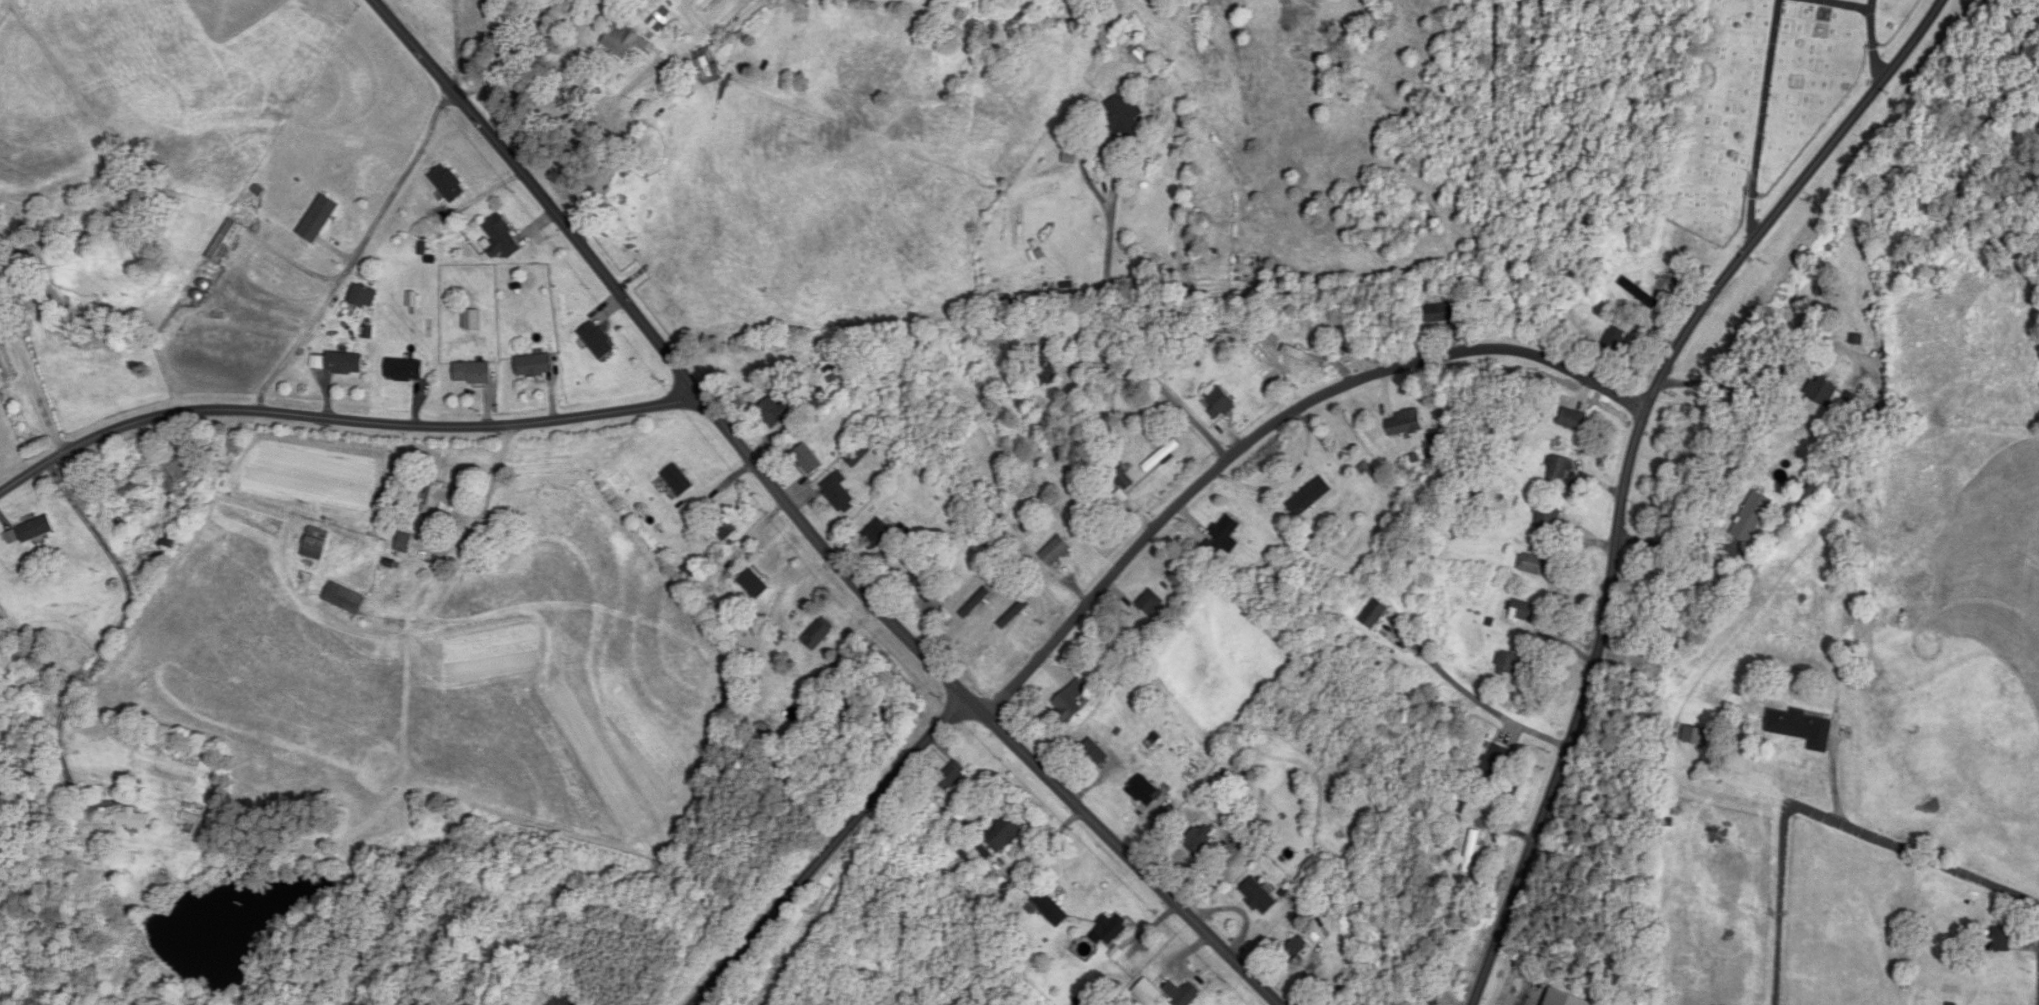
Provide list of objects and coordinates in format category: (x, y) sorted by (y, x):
building: (624, 41)
road: (458, 43)
building: (1142, 56)
road: (543, 63)
building: (709, 66)
park: (1766, 98)
building: (1123, 118)
road: (610, 146)
road: (1116, 170)
building: (448, 184)
building: (320, 219)
building: (503, 240)
building: (223, 250)
road: (358, 254)
building: (1639, 293)
building: (363, 296)
building: (1440, 313)
building: (1857, 339)
building: (1614, 340)
building: (598, 341)
building: (1305, 353)
building: (5, 363)
building: (345, 363)
building: (534, 365)
building: (1043, 366)
building: (404, 370)
road: (1770, 370)
building: (472, 373)
road: (1162, 382)
building: (1823, 391)
building: (1852, 401)
building: (1219, 402)
building: (776, 413)
building: (1570, 419)
road: (343, 421)
building: (1404, 423)
road: (1269, 433)
building: (1161, 456)
building: (807, 460)
building: (183, 463)
road: (1631, 464)
building: (1558, 468)
building: (1123, 478)
building: (133, 483)
building: (839, 494)
building: (1309, 497)
building: (440, 501)
building: (1546, 516)
building: (1751, 518)
road: (802, 523)
building: (727, 526)
building: (1224, 528)
building: (36, 529)
building: (875, 535)
building: (171, 537)
building: (316, 543)
building: (404, 546)
road: (1677, 548)
building: (1054, 552)
building: (1533, 565)
building: (920, 577)
building: (345, 599)
building: (1150, 603)
building: (1857, 610)
building: (1522, 612)
building: (1372, 614)
building: (972, 630)
building: (817, 633)
road: (116, 634)
building: (1507, 663)
road: (1470, 698)
building: (1070, 701)
building: (1802, 728)
building: (1695, 736)
building: (1094, 755)
building: (1496, 760)
building: (951, 776)
building: (1145, 792)
building: (190, 818)
building: (134, 820)
building: (1004, 832)
building: (1197, 842)
building: (1473, 843)
road: (830, 852)
road: (1920, 855)
building: (1257, 896)
road: (1782, 905)
building: (1050, 909)
building: (1112, 929)
building: (2000, 940)
building: (1295, 948)
building: (1118, 952)
building: (1183, 995)
building: (1562, 999)

